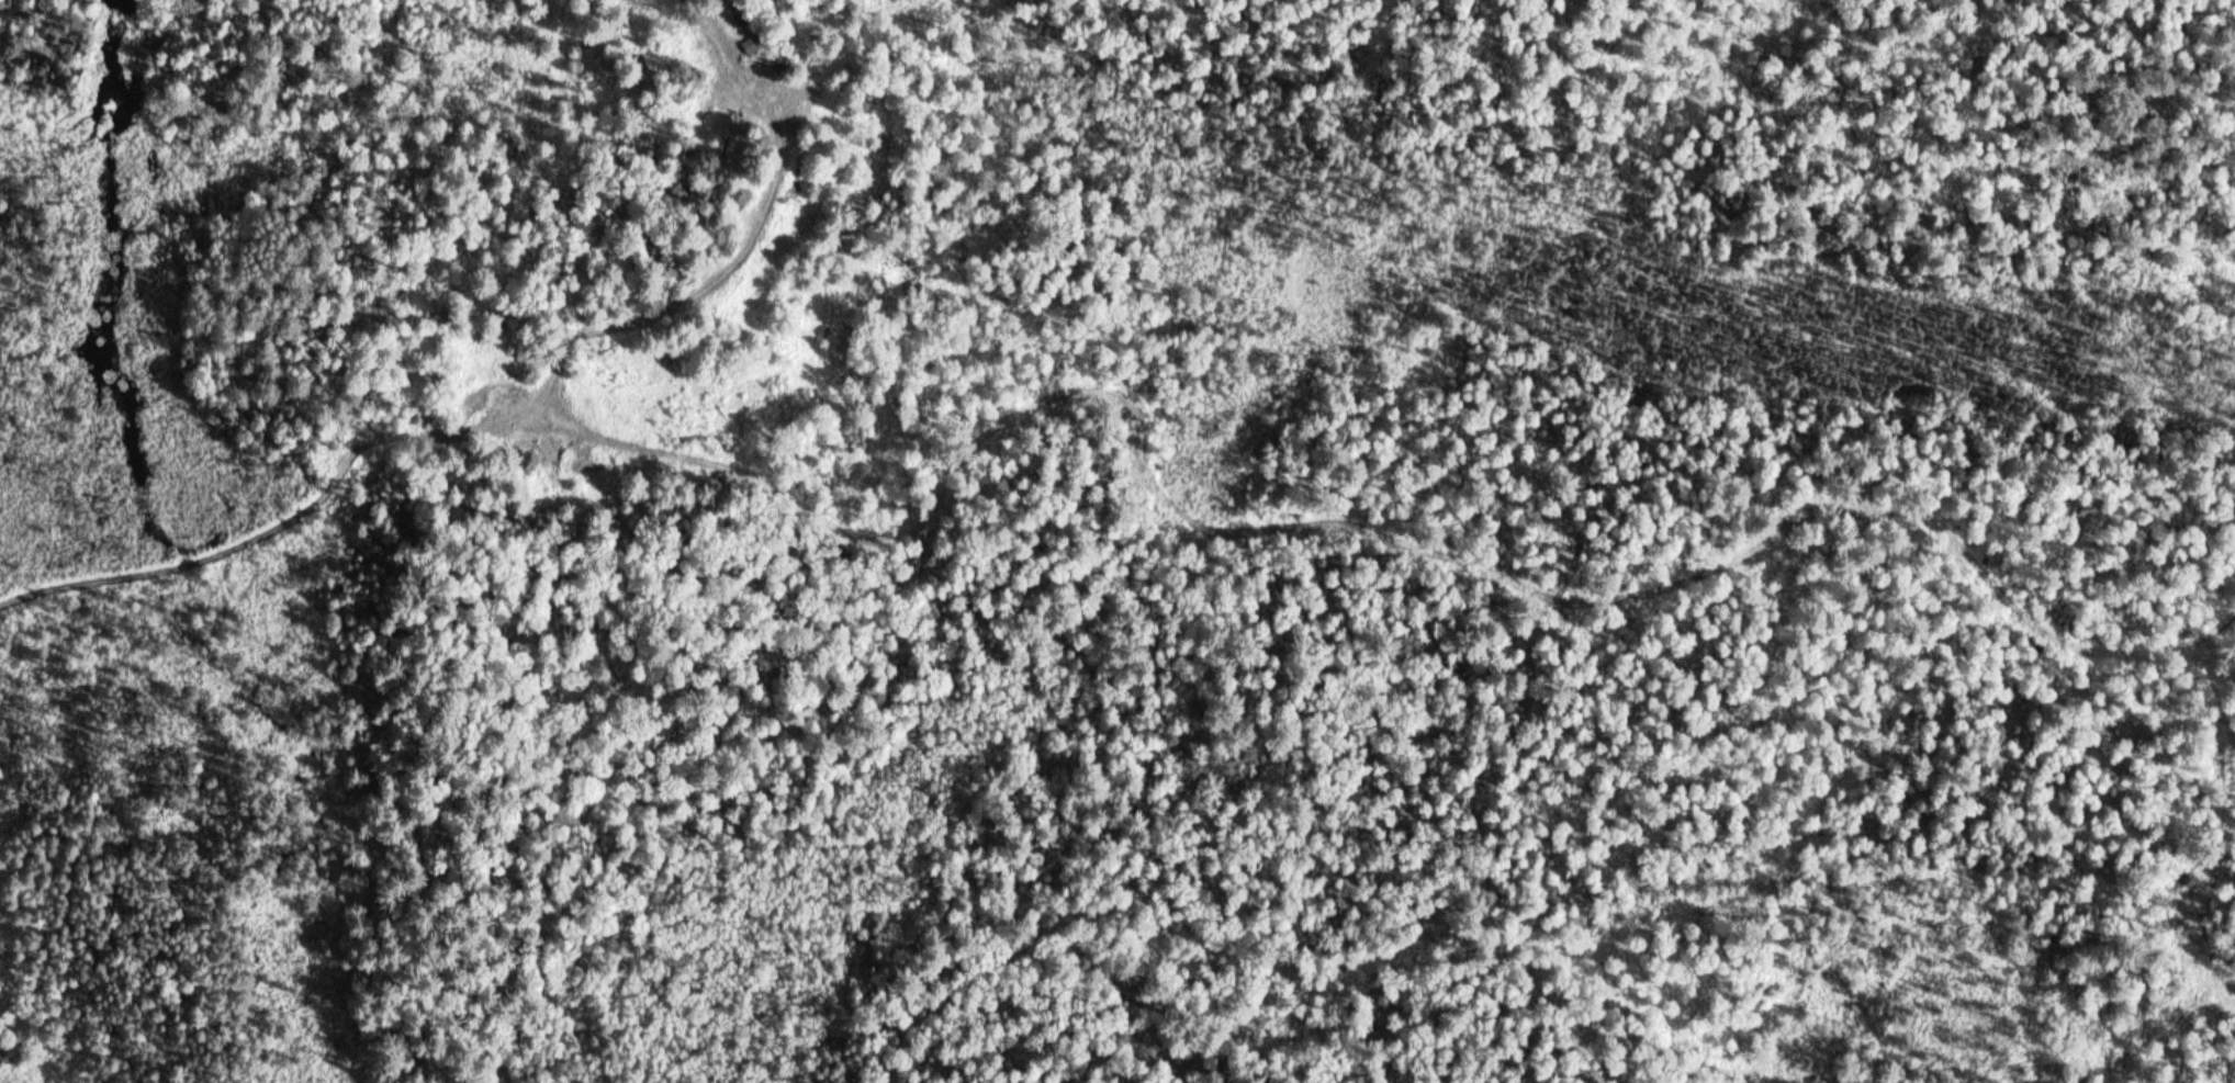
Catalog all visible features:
building: (782, 64)
building: (731, 123)

